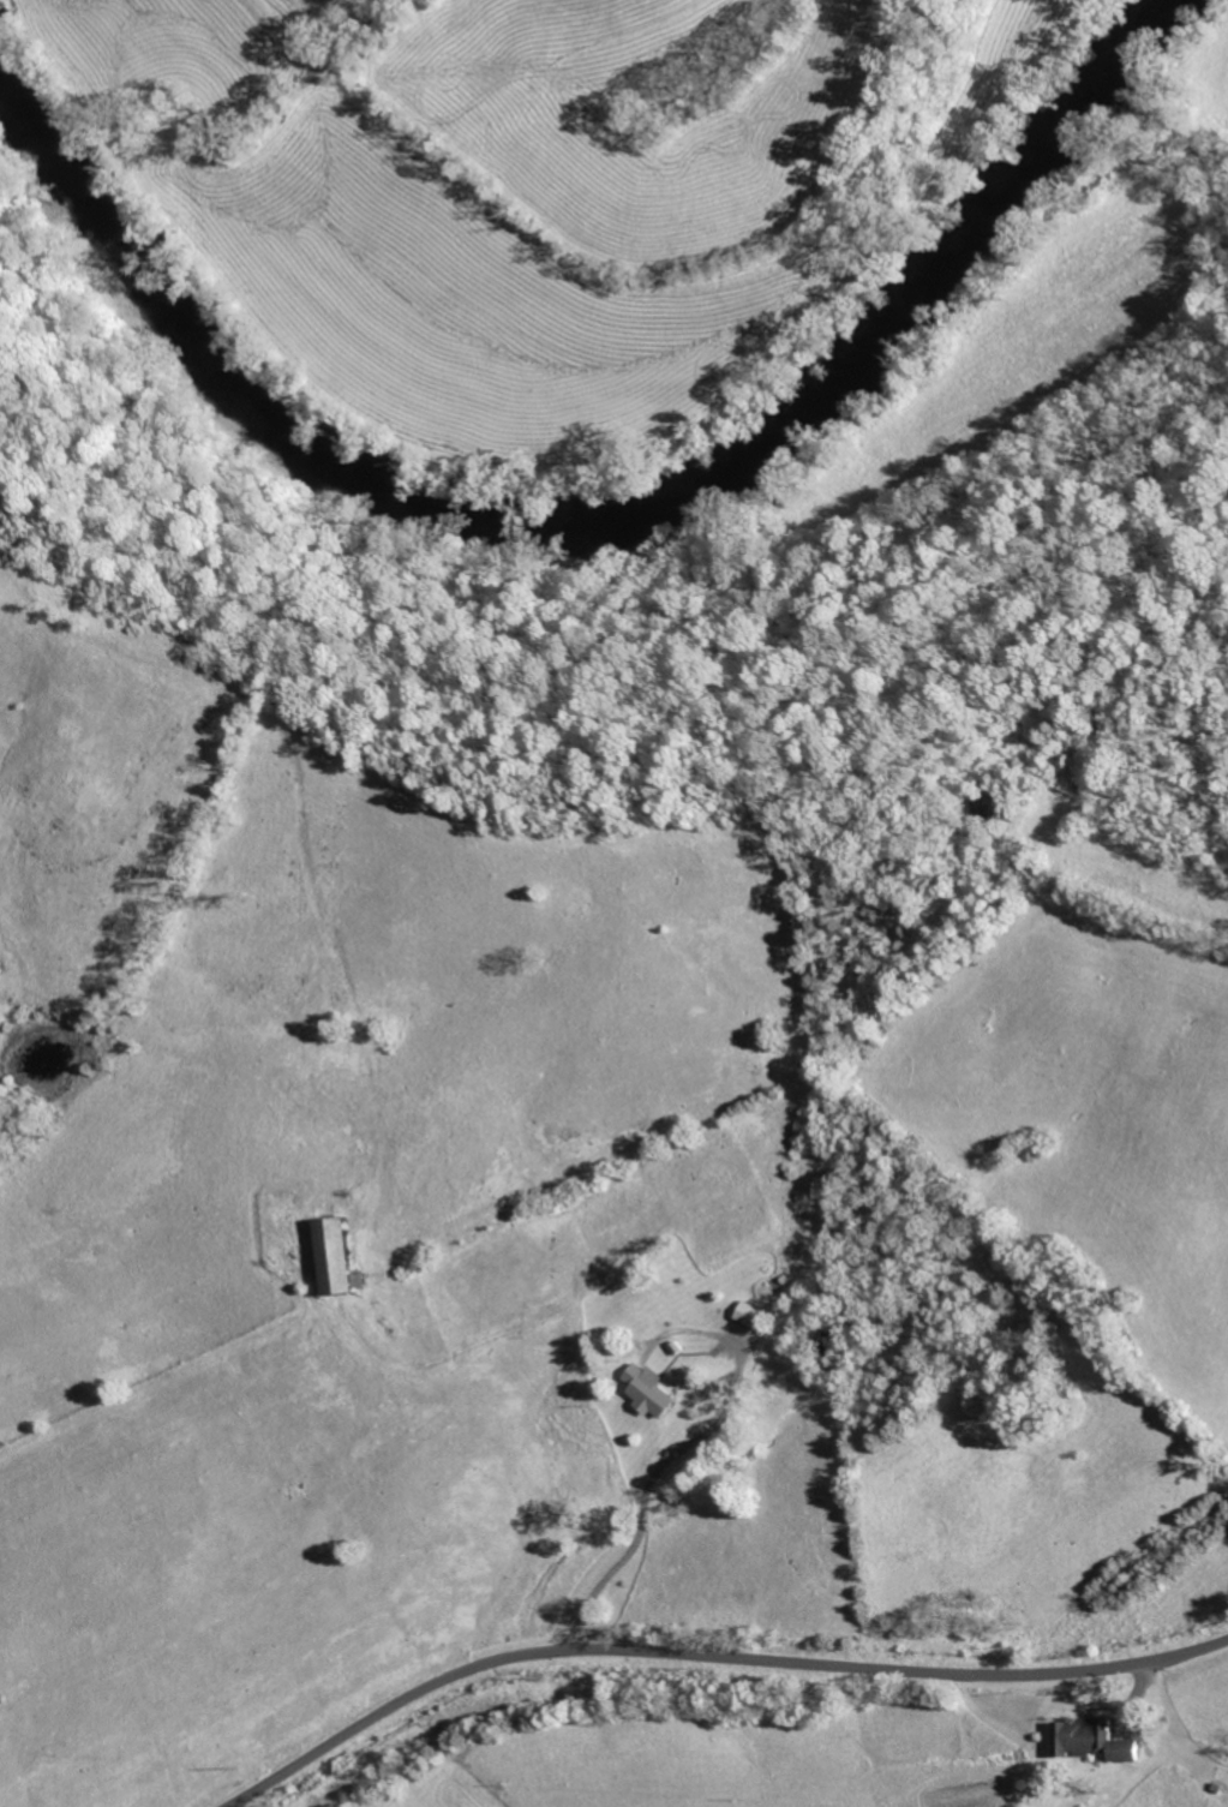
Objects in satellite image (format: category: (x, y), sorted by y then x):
river: (576, 502)
building: (345, 1256)
building: (654, 1390)
road: (648, 1488)
road: (708, 1656)
building: (1091, 1741)

